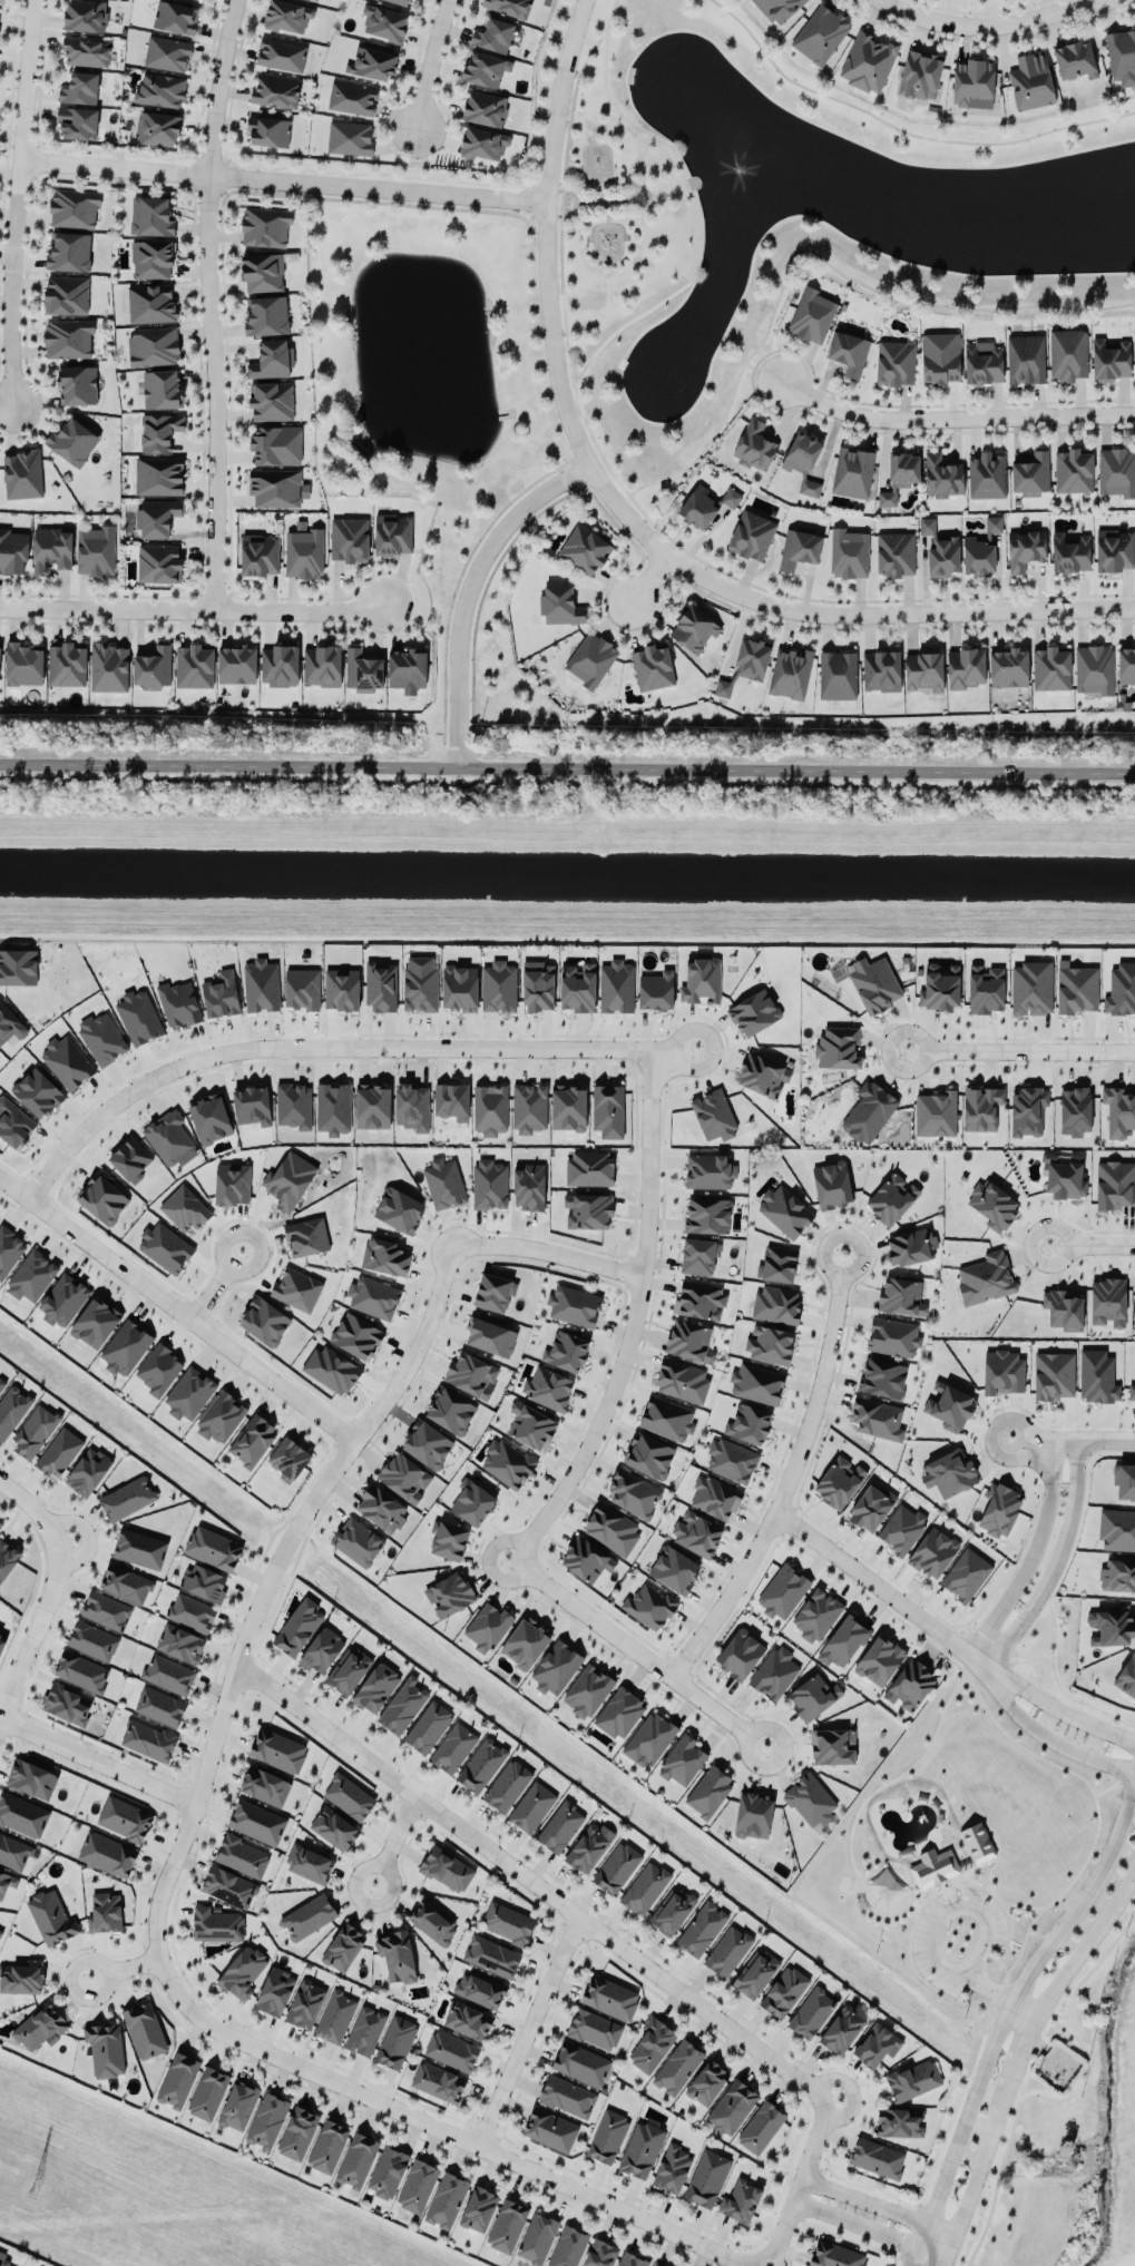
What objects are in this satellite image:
building: (199, 0)
building: (402, 2)
building: (509, 7)
building: (779, 9)
building: (86, 14)
building: (287, 17)
building: (176, 18)
building: (384, 22)
road: (985, 24)
building: (820, 35)
building: (495, 36)
building: (86, 51)
building: (167, 53)
building: (281, 55)
building: (1122, 56)
building: (1075, 60)
building: (868, 62)
building: (372, 63)
road: (430, 65)
building: (485, 69)
building: (920, 75)
building: (1031, 81)
building: (973, 82)
building: (80, 88)
building: (160, 90)
building: (275, 92)
building: (352, 98)
building: (486, 108)
building: (78, 121)
building: (158, 128)
building: (268, 131)
road: (900, 131)
building: (350, 138)
building: (483, 143)
fountain: (751, 169)
road: (284, 179)
road: (598, 182)
road: (669, 189)
road: (599, 192)
road: (16, 200)
road: (695, 200)
road: (603, 202)
road: (577, 203)
building: (74, 208)
park: (619, 210)
road: (607, 212)
building: (151, 216)
road: (607, 223)
building: (265, 226)
road: (546, 234)
building: (69, 252)
road: (813, 255)
building: (151, 259)
building: (263, 273)
road: (561, 283)
building: (66, 295)
building: (150, 303)
road: (209, 303)
building: (266, 315)
building: (812, 315)
building: (68, 339)
building: (154, 346)
building: (849, 352)
building: (1068, 354)
building: (940, 357)
building: (1026, 359)
building: (272, 360)
building: (1109, 360)
building: (896, 363)
building: (984, 363)
road: (759, 372)
building: (77, 384)
building: (162, 389)
building: (271, 401)
road: (1134, 401)
road: (951, 414)
building: (159, 431)
building: (72, 441)
building: (276, 444)
building: (755, 445)
building: (804, 462)
building: (1073, 471)
building: (1117, 471)
building: (853, 472)
building: (22, 474)
building: (1031, 474)
building: (159, 475)
building: (942, 475)
building: (987, 475)
building: (900, 477)
building: (277, 488)
building: (705, 506)
building: (157, 517)
building: (994, 523)
building: (393, 534)
building: (752, 536)
building: (350, 539)
building: (51, 549)
building: (585, 549)
building: (800, 549)
building: (1025, 549)
building: (95, 550)
building: (940, 550)
building: (1114, 550)
building: (12, 551)
building: (304, 552)
building: (1070, 552)
building: (849, 553)
building: (896, 553)
building: (260, 555)
building: (978, 557)
building: (158, 562)
road: (646, 577)
road: (469, 592)
building: (560, 605)
road: (192, 610)
road: (833, 614)
building: (694, 629)
building: (591, 659)
building: (752, 659)
building: (23, 664)
building: (236, 664)
building: (67, 665)
building: (280, 665)
building: (1126, 665)
building: (194, 666)
building: (322, 666)
building: (109, 667)
building: (653, 667)
building: (966, 667)
building: (1008, 667)
building: (153, 668)
building: (1050, 668)
building: (408, 669)
building: (1094, 669)
building: (362, 670)
building: (881, 670)
building: (924, 671)
building: (790, 673)
building: (838, 675)
building: (723, 688)
road: (229, 765)
road: (798, 771)
building: (18, 967)
building: (702, 981)
building: (874, 983)
building: (261, 985)
building: (538, 985)
building: (381, 987)
building: (420, 987)
building: (498, 987)
building: (578, 987)
building: (616, 987)
building: (302, 988)
building: (459, 988)
building: (940, 988)
building: (1031, 988)
building: (1077, 988)
building: (341, 989)
building: (985, 989)
building: (1121, 989)
building: (656, 990)
building: (221, 994)
building: (178, 1003)
building: (754, 1012)
building: (138, 1017)
building: (10, 1024)
building: (101, 1038)
road: (334, 1047)
building: (838, 1048)
road: (1020, 1050)
building: (67, 1062)
building: (763, 1075)
building: (37, 1092)
building: (451, 1100)
building: (252, 1105)
building: (294, 1105)
building: (372, 1106)
building: (412, 1107)
building: (568, 1107)
building: (333, 1108)
building: (529, 1108)
building: (981, 1108)
building: (490, 1109)
building: (608, 1110)
building: (1075, 1110)
building: (869, 1111)
building: (1028, 1111)
building: (1118, 1111)
building: (936, 1114)
building: (714, 1116)
building: (211, 1118)
building: (13, 1124)
building: (169, 1138)
building: (130, 1159)
building: (589, 1168)
building: (710, 1171)
building: (1065, 1176)
building: (288, 1180)
building: (444, 1183)
building: (232, 1184)
building: (489, 1184)
building: (832, 1185)
building: (1115, 1185)
building: (529, 1186)
building: (102, 1197)
building: (891, 1198)
building: (994, 1205)
building: (185, 1208)
building: (399, 1209)
building: (588, 1210)
building: (784, 1212)
building: (707, 1215)
road: (1060, 1226)
building: (306, 1236)
road: (1103, 1245)
building: (911, 1246)
building: (165, 1247)
building: (9, 1250)
road: (548, 1252)
building: (385, 1256)
building: (698, 1256)
building: (777, 1264)
building: (31, 1276)
building: (986, 1277)
road: (217, 1286)
building: (1134, 1287)
building: (297, 1288)
building: (493, 1292)
building: (373, 1296)
building: (901, 1297)
building: (63, 1299)
building: (701, 1301)
building: (1108, 1302)
building: (776, 1304)
building: (574, 1305)
building: (1063, 1309)
road: (178, 1311)
road: (634, 1318)
building: (264, 1321)
building: (95, 1323)
building: (356, 1336)
building: (490, 1336)
building: (893, 1336)
building: (689, 1341)
building: (770, 1344)
building: (126, 1347)
building: (566, 1351)
building: (1134, 1358)
building: (332, 1369)
building: (159, 1370)
building: (1004, 1372)
building: (471, 1375)
building: (1054, 1375)
building: (1097, 1376)
building: (882, 1379)
building: (682, 1380)
building: (1, 1383)
building: (757, 1383)
building: (548, 1387)
building: (1132, 1392)
building: (189, 1393)
building: (949, 1406)
building: (12, 1410)
building: (450, 1410)
building: (221, 1416)
building: (667, 1419)
building: (877, 1419)
building: (748, 1424)
building: (531, 1426)
building: (35, 1431)
road: (1073, 1439)
building: (252, 1440)
building: (427, 1444)
building: (59, 1452)
building: (648, 1455)
building: (288, 1459)
building: (731, 1460)
building: (507, 1463)
building: (88, 1471)
building: (949, 1473)
road: (791, 1475)
building: (404, 1477)
building: (839, 1481)
building: (1124, 1481)
building: (634, 1493)
building: (715, 1497)
building: (127, 1498)
building: (472, 1501)
building: (871, 1507)
road: (33, 1509)
building: (381, 1509)
building: (999, 1509)
building: (0, 1523)
building: (901, 1528)
building: (1117, 1529)
building: (611, 1530)
building: (696, 1533)
building: (448, 1539)
building: (358, 1541)
building: (213, 1548)
building: (139, 1549)
building: (933, 1552)
road: (1034, 1554)
building: (7, 1559)
building: (586, 1559)
road: (1056, 1563)
building: (674, 1569)
building: (966, 1575)
building: (1117, 1576)
building: (126, 1582)
building: (204, 1582)
road: (268, 1585)
building: (783, 1591)
road: (890, 1593)
building: (449, 1595)
building: (648, 1606)
building: (106, 1610)
building: (192, 1612)
building: (816, 1615)
road: (36, 1626)
building: (299, 1626)
building: (1112, 1626)
building: (487, 1627)
building: (1, 1640)
building: (92, 1640)
building: (843, 1640)
building: (526, 1642)
building: (180, 1644)
building: (322, 1650)
road: (642, 1650)
building: (740, 1654)
building: (880, 1660)
building: (556, 1667)
building: (81, 1670)
building: (348, 1670)
building: (775, 1672)
building: (168, 1674)
building: (1127, 1676)
building: (910, 1685)
building: (376, 1687)
building: (587, 1690)
building: (813, 1696)
building: (67, 1704)
building: (403, 1705)
building: (159, 1706)
road: (1066, 1710)
building: (619, 1713)
building: (428, 1726)
building: (148, 1739)
building: (649, 1739)
road: (1056, 1739)
building: (832, 1746)
building: (453, 1748)
building: (277, 1750)
road: (98, 1760)
building: (683, 1760)
building: (481, 1765)
building: (31, 1778)
building: (507, 1785)
building: (264, 1786)
building: (708, 1792)
building: (349, 1796)
building: (810, 1799)
building: (531, 1806)
building: (22, 1815)
building: (753, 1815)
building: (124, 1818)
building: (256, 1822)
building: (560, 1826)
building: (334, 1827)
road: (395, 1840)
building: (977, 1843)
building: (587, 1848)
building: (13, 1852)
building: (107, 1854)
building: (242, 1855)
building: (309, 1863)
building: (617, 1867)
building: (933, 1867)
building: (447, 1868)
building: (7, 1882)
road: (534, 1882)
building: (228, 1886)
building: (645, 1887)
building: (672, 1911)
road: (977, 1911)
building: (105, 1912)
building: (309, 1916)
building: (51, 1917)
building: (433, 1921)
building: (508, 1923)
building: (216, 1924)
building: (702, 1929)
building: (0, 1930)
parking lot: (958, 1934)
building: (343, 1946)
building: (727, 1951)
building: (397, 1955)
building: (491, 1956)
road: (124, 1968)
building: (243, 1972)
building: (755, 1973)
building: (22, 1978)
building: (480, 1990)
building: (275, 1991)
building: (784, 1991)
building: (609, 1998)
building: (305, 2003)
building: (812, 2012)
road: (1021, 2013)
road: (1006, 2014)
building: (335, 2017)
building: (468, 2020)
building: (41, 2027)
building: (595, 2029)
building: (842, 2029)
building: (145, 2030)
building: (365, 2030)
road: (528, 2030)
building: (395, 2041)
building: (652, 2044)
building: (875, 2044)
building: (106, 2048)
building: (451, 2050)
road: (1017, 2060)
building: (580, 2063)
building: (677, 2067)
building: (178, 2080)
building: (913, 2080)
building: (438, 2081)
building: (707, 2082)
building: (208, 2092)
building: (567, 2096)
building: (238, 2106)
building: (732, 2107)
building: (267, 2120)
building: (900, 2122)
building: (761, 2127)
road: (441, 2129)
building: (550, 2129)
building: (297, 2132)
building: (608, 2137)
building: (327, 2146)
building: (642, 2149)
building: (877, 2158)
building: (356, 2160)
building: (673, 2168)
building: (388, 2171)
building: (707, 2178)
road: (800, 2184)
building: (417, 2186)
power tower: (35, 2190)
building: (447, 2200)
building: (741, 2200)
road: (879, 2205)
building: (478, 2208)
building: (507, 2225)
road: (870, 2228)
building: (537, 2238)
building: (568, 2247)
building: (600, 2254)
building: (834, 2255)
building: (4, 2259)
building: (653, 2265)

